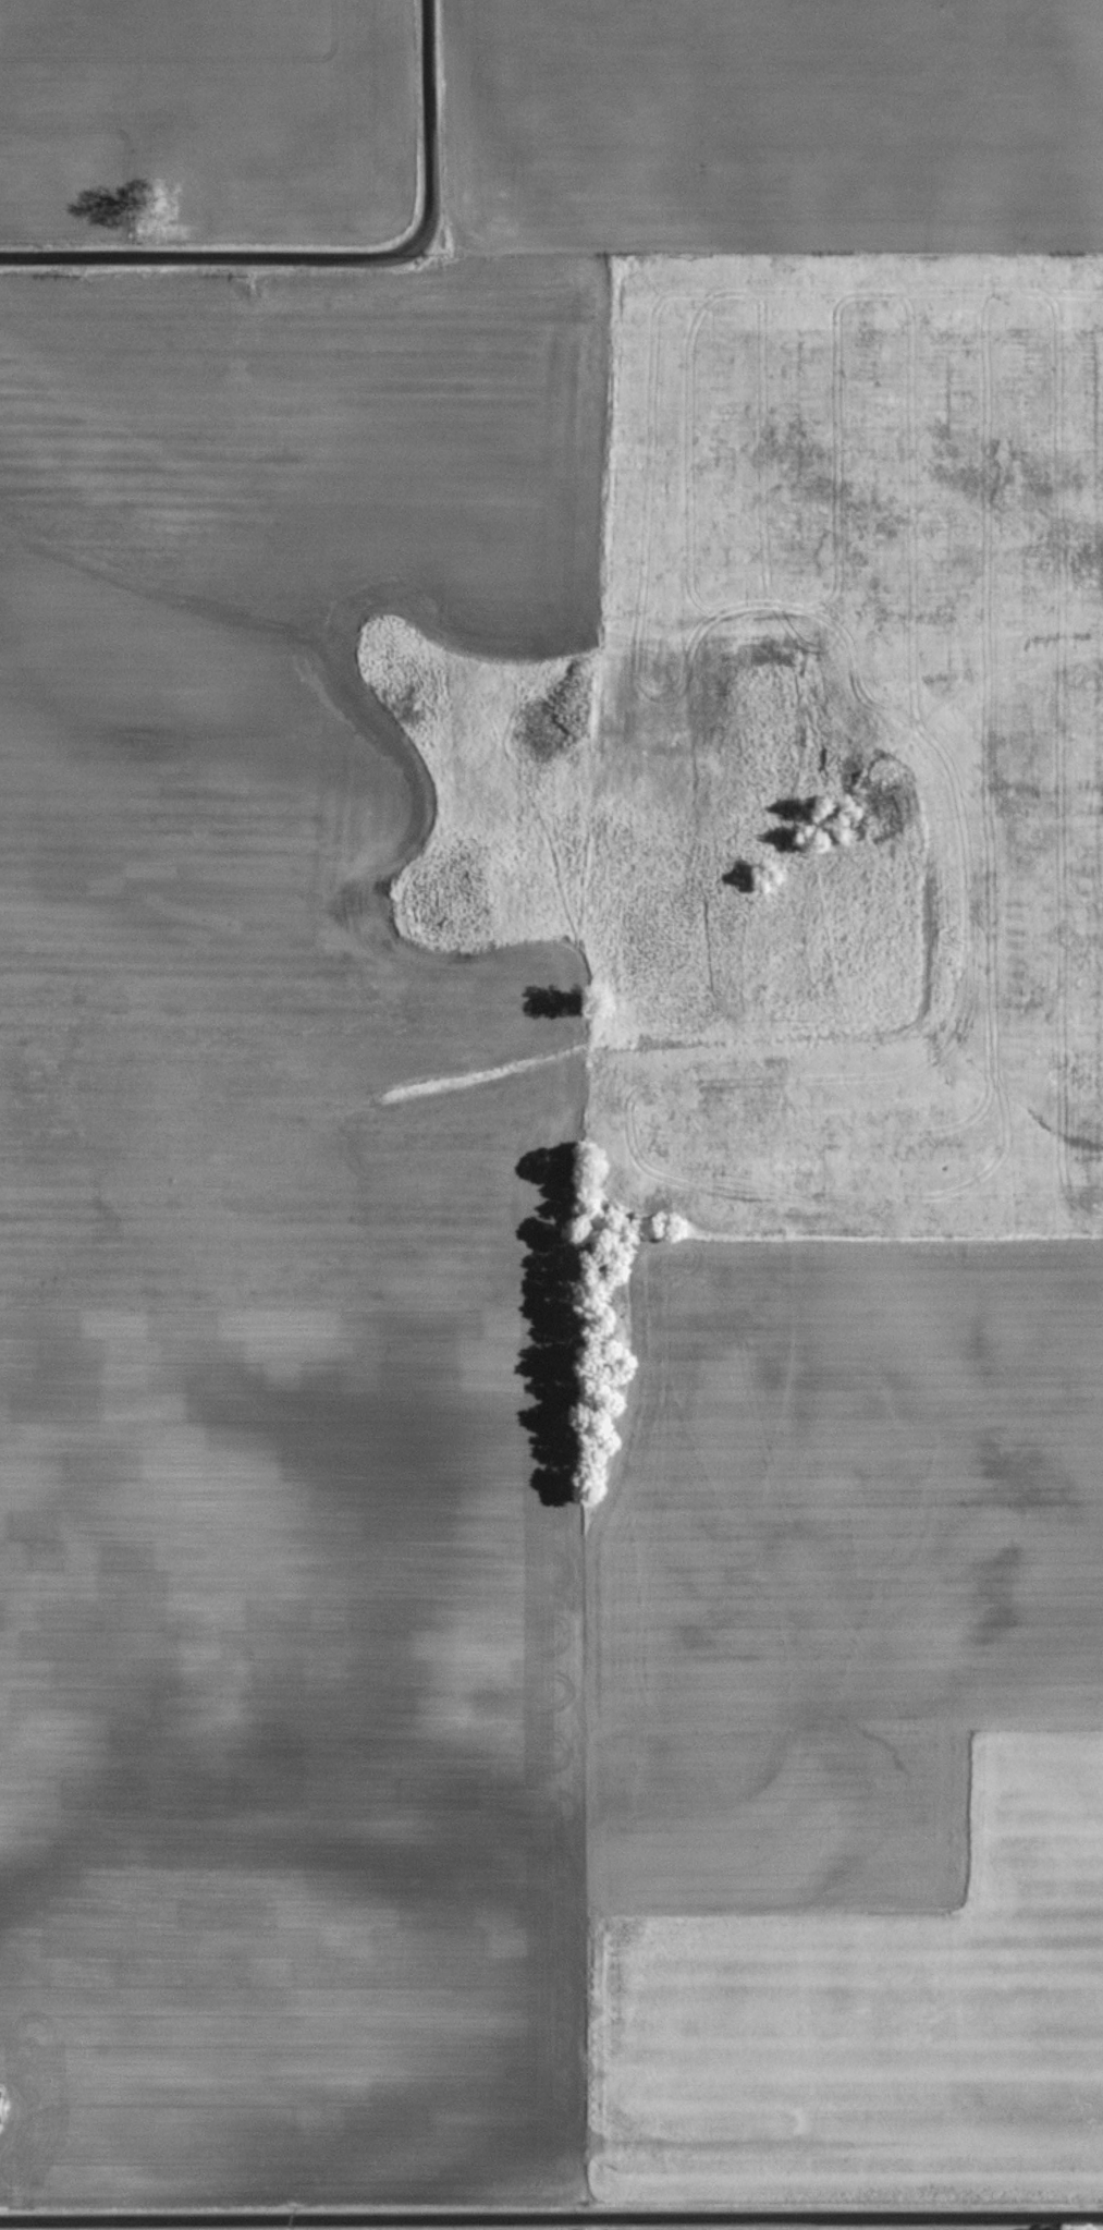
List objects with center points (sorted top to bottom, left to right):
crop: (201, 115)
crop: (782, 124)
road: (334, 259)
crop: (1102, 440)
crop: (1020, 745)
crop: (281, 1250)
crop: (847, 1725)
road: (551, 2220)

